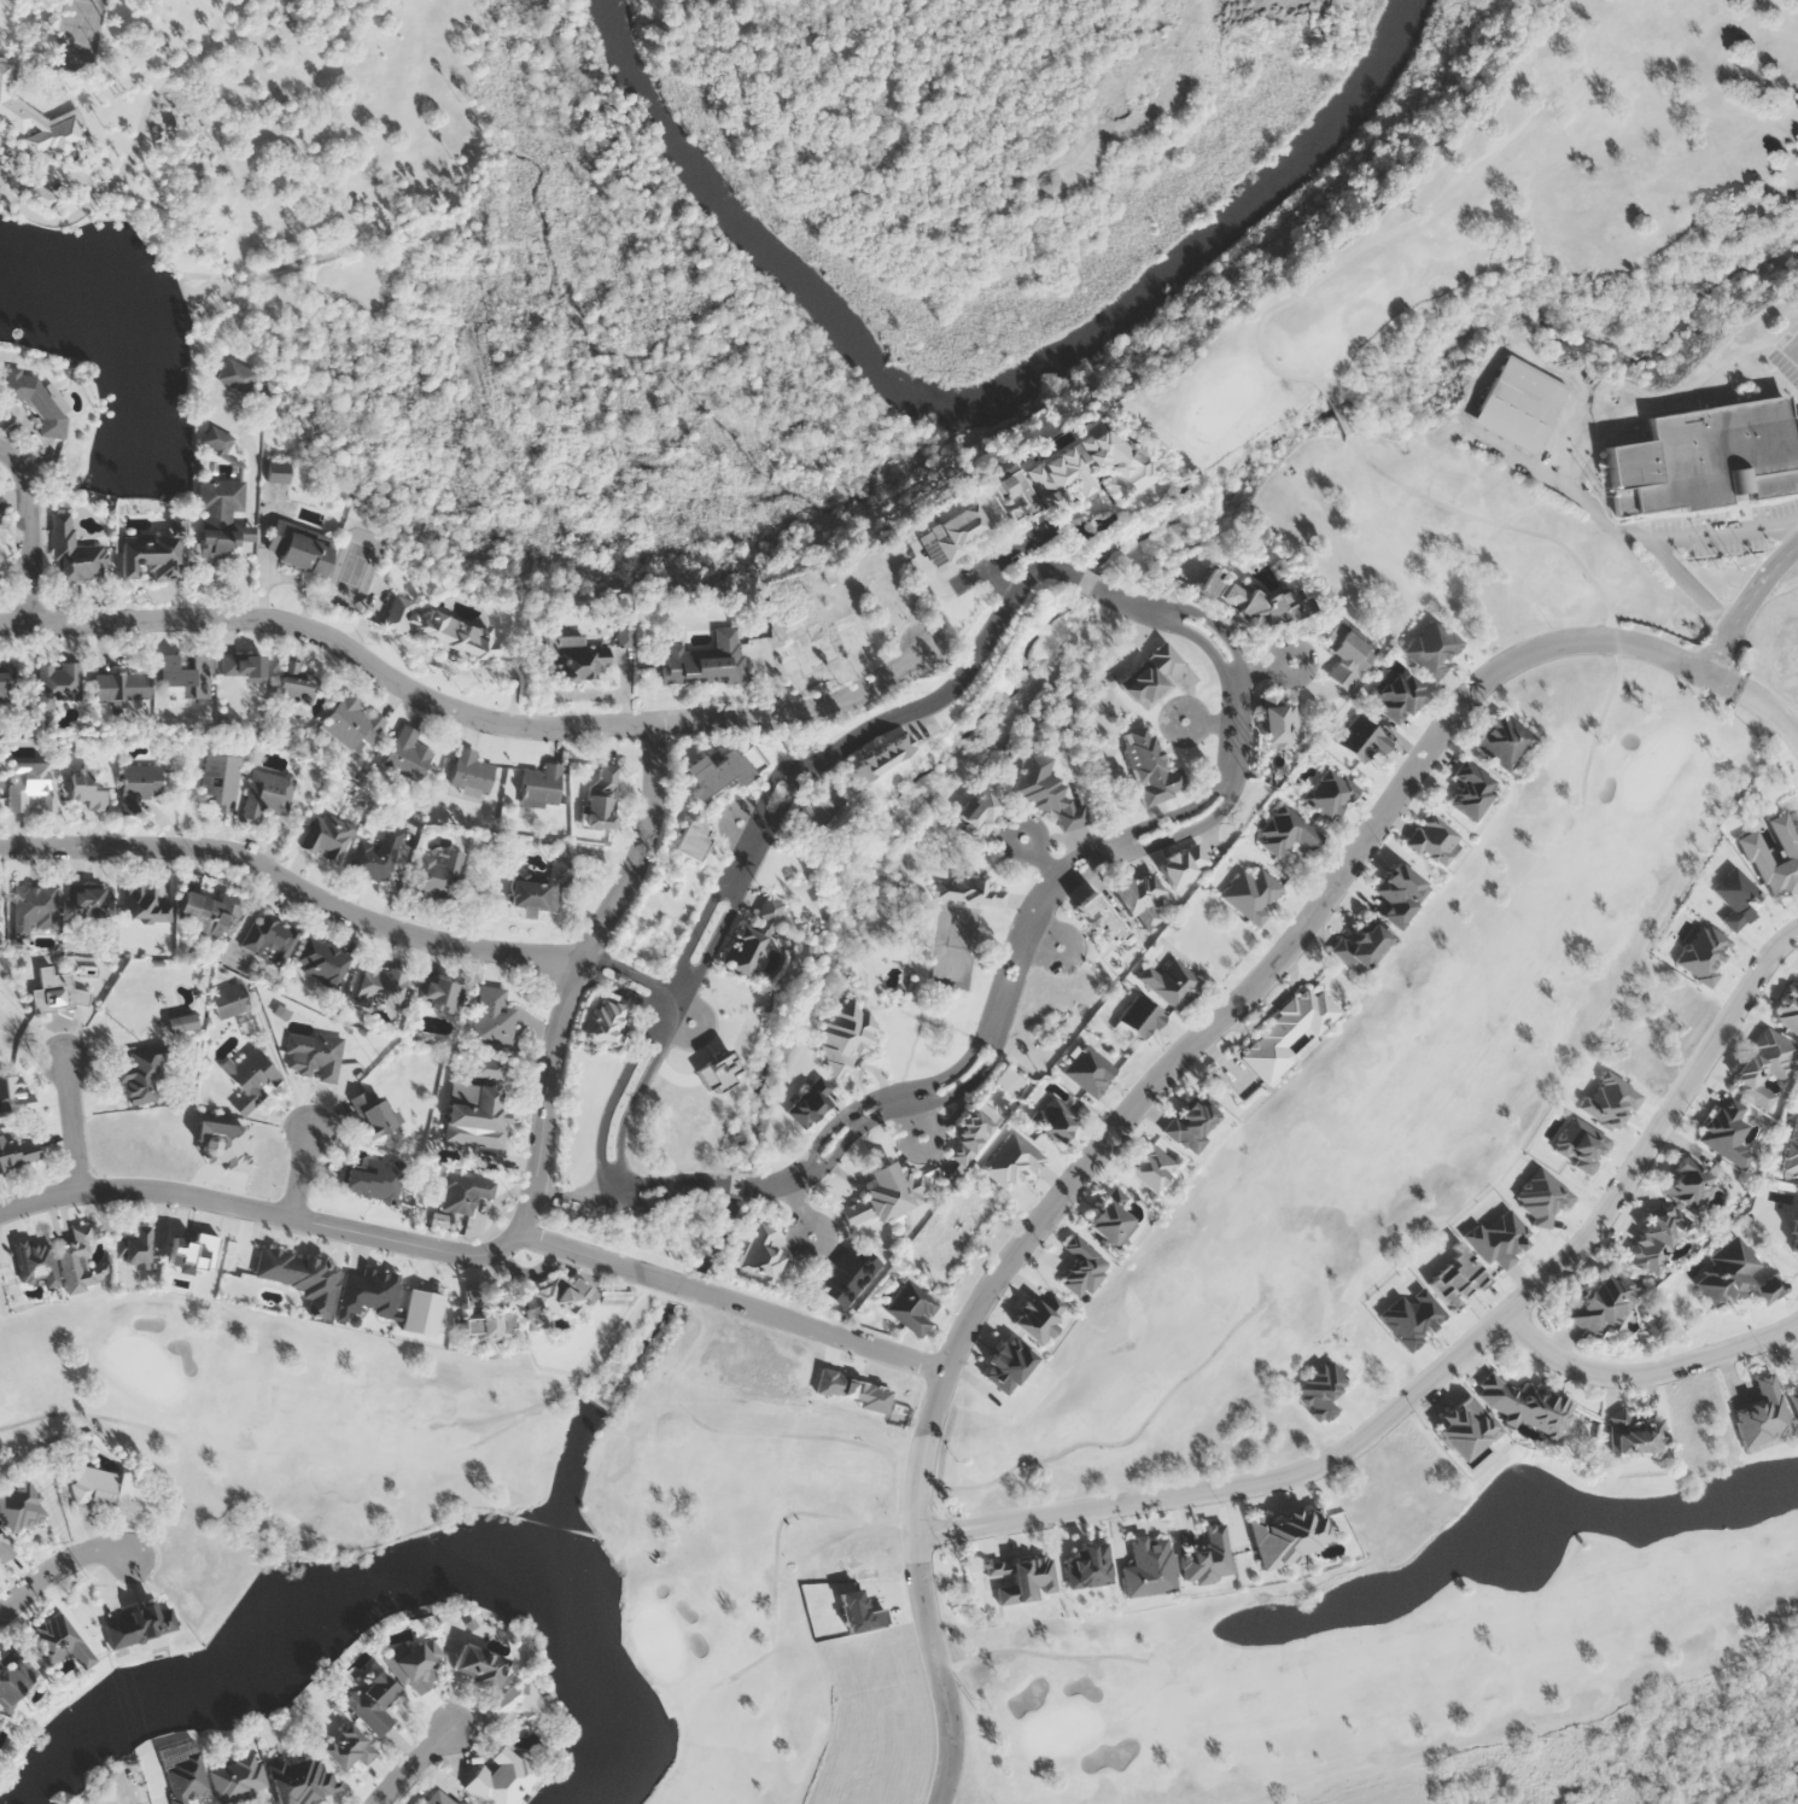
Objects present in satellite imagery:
building: (37, 119)
road: (1313, 284)
road: (1793, 343)
road: (1793, 351)
building: (233, 375)
building: (41, 401)
building: (1519, 404)
road: (1338, 413)
building: (215, 439)
building: (1706, 457)
building: (1087, 468)
building: (275, 473)
building: (1011, 496)
building: (220, 519)
road: (1607, 522)
building: (958, 530)
road: (1723, 532)
road: (29, 536)
building: (298, 550)
building: (75, 554)
building: (148, 555)
road: (1575, 557)
building: (1257, 600)
road: (1745, 606)
building: (439, 632)
building: (822, 646)
building: (1434, 649)
building: (1347, 655)
building: (573, 658)
building: (706, 660)
building: (243, 667)
road: (1263, 669)
building: (1150, 677)
building: (185, 681)
building: (60, 682)
building: (4, 683)
road: (1721, 683)
building: (122, 685)
building: (294, 690)
building: (1395, 695)
road: (461, 714)
building: (1278, 720)
road: (1212, 722)
building: (351, 724)
building: (1359, 738)
building: (1504, 742)
building: (407, 754)
building: (881, 758)
building: (1150, 767)
building: (719, 772)
building: (471, 773)
building: (220, 782)
building: (30, 786)
building: (138, 787)
building: (541, 787)
building: (1046, 789)
building: (86, 790)
building: (1472, 792)
building: (1330, 794)
building: (268, 795)
building: (602, 796)
building: (981, 811)
building: (821, 812)
road: (766, 822)
road: (752, 825)
building: (1286, 830)
building: (329, 839)
building: (691, 840)
building: (1435, 841)
building: (1756, 850)
building: (376, 856)
road: (1043, 858)
building: (1183, 863)
building: (438, 875)
road: (291, 887)
building: (1400, 887)
building: (542, 889)
building: (971, 892)
building: (1251, 894)
building: (1139, 898)
building: (91, 900)
building: (144, 904)
building: (34, 907)
building: (769, 912)
building: (205, 913)
building: (1098, 918)
building: (269, 939)
road: (1047, 941)
building: (1362, 947)
building: (743, 951)
road: (1023, 959)
building: (322, 962)
road: (574, 975)
road: (630, 980)
building: (381, 985)
building: (1171, 985)
building: (58, 992)
building: (228, 1002)
building: (438, 1006)
building: (1790, 1010)
building: (494, 1017)
building: (1140, 1017)
road: (681, 1018)
building: (606, 1026)
building: (845, 1034)
building: (1286, 1034)
building: (314, 1056)
building: (1764, 1068)
building: (1090, 1072)
building: (141, 1074)
building: (250, 1080)
building: (12, 1096)
building: (810, 1102)
building: (477, 1107)
road: (918, 1115)
building: (1055, 1119)
building: (1190, 1126)
road: (72, 1127)
road: (1117, 1131)
building: (1727, 1132)
building: (970, 1135)
building: (18, 1151)
building: (1792, 1152)
building: (1011, 1161)
building: (1152, 1169)
road: (300, 1173)
building: (374, 1180)
building: (1689, 1185)
building: (463, 1192)
building: (886, 1195)
road: (262, 1209)
road: (804, 1212)
building: (1111, 1220)
building: (1658, 1240)
building: (132, 1248)
building: (759, 1257)
building: (69, 1260)
building: (36, 1262)
building: (1084, 1267)
building: (848, 1275)
building: (1733, 1278)
building: (368, 1294)
building: (474, 1297)
road: (643, 1298)
building: (550, 1303)
road: (731, 1304)
building: (1601, 1306)
building: (912, 1307)
building: (1039, 1318)
building: (488, 1326)
building: (1653, 1326)
building: (1006, 1364)
road: (1442, 1368)
road: (1646, 1373)
building: (1793, 1399)
dam: (600, 1402)
road: (827, 1411)
road: (87, 1414)
building: (1534, 1418)
building: (1635, 1436)
road: (1115, 1442)
building: (100, 1485)
building: (21, 1506)
road: (776, 1537)
building: (1288, 1537)
building: (5, 1549)
building: (1150, 1567)
road: (62, 1570)
power tower: (88, 1586)
road: (817, 1592)
building: (135, 1622)
building: (59, 1641)
building: (415, 1663)
building: (478, 1665)
building: (14, 1676)
building: (519, 1701)
building: (374, 1703)
building: (1, 1724)
building: (348, 1747)
road: (415, 1765)
building: (185, 1779)
building: (238, 1779)
building: (501, 1779)
building: (302, 1781)
building: (438, 1798)

